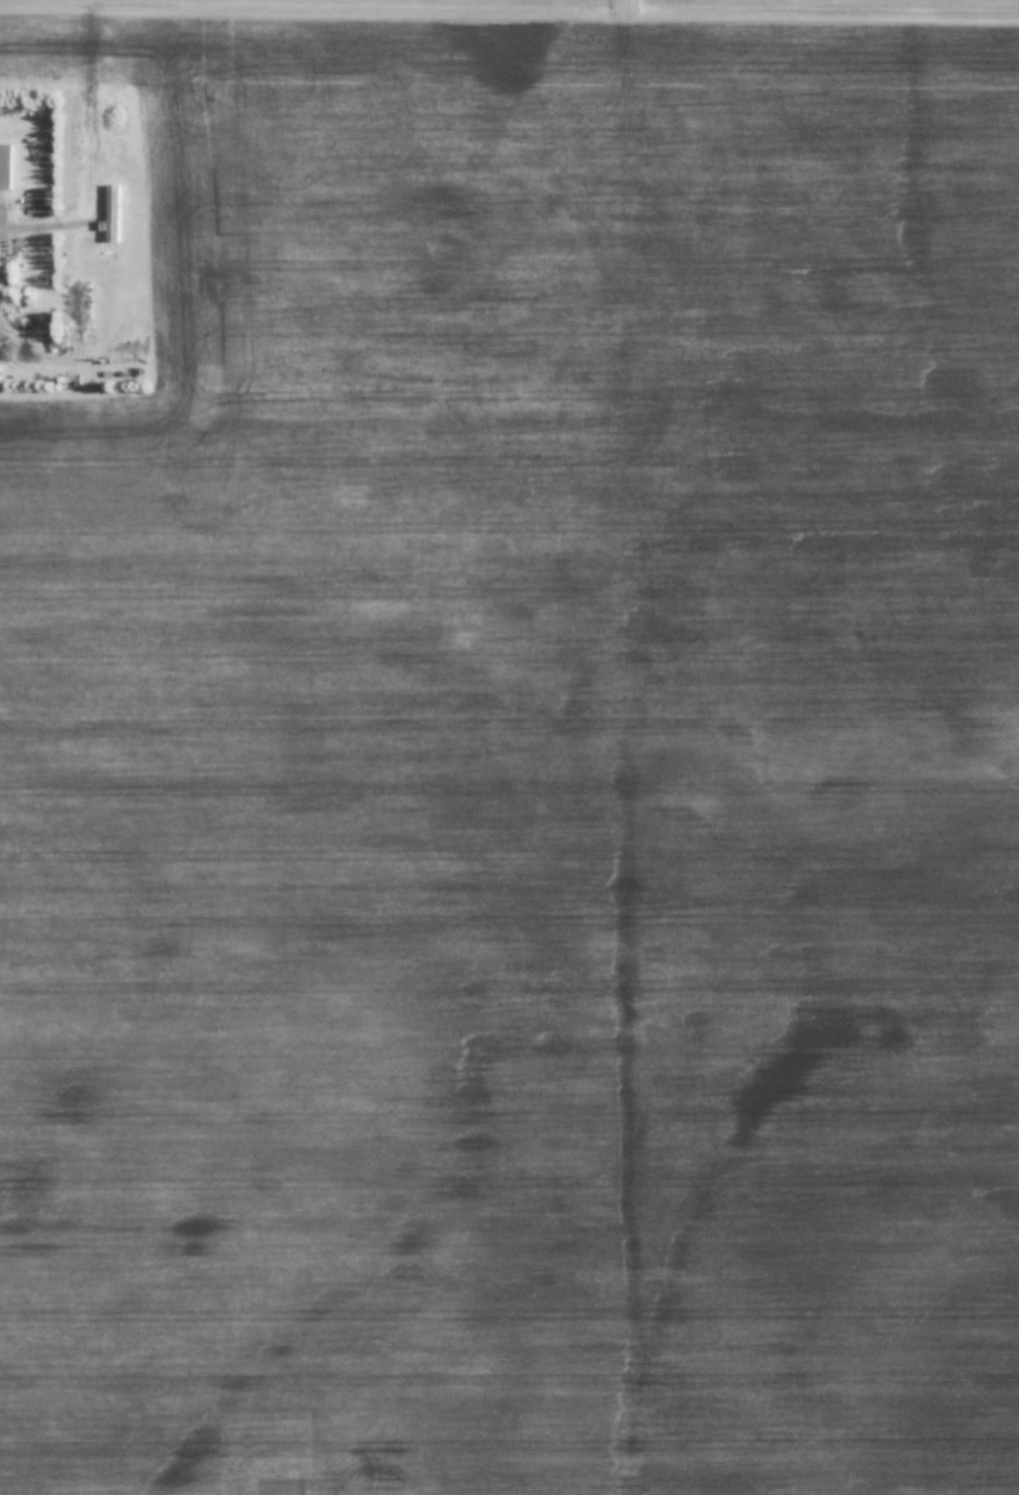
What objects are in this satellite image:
building: (6, 167)
building: (114, 213)
road: (43, 223)

